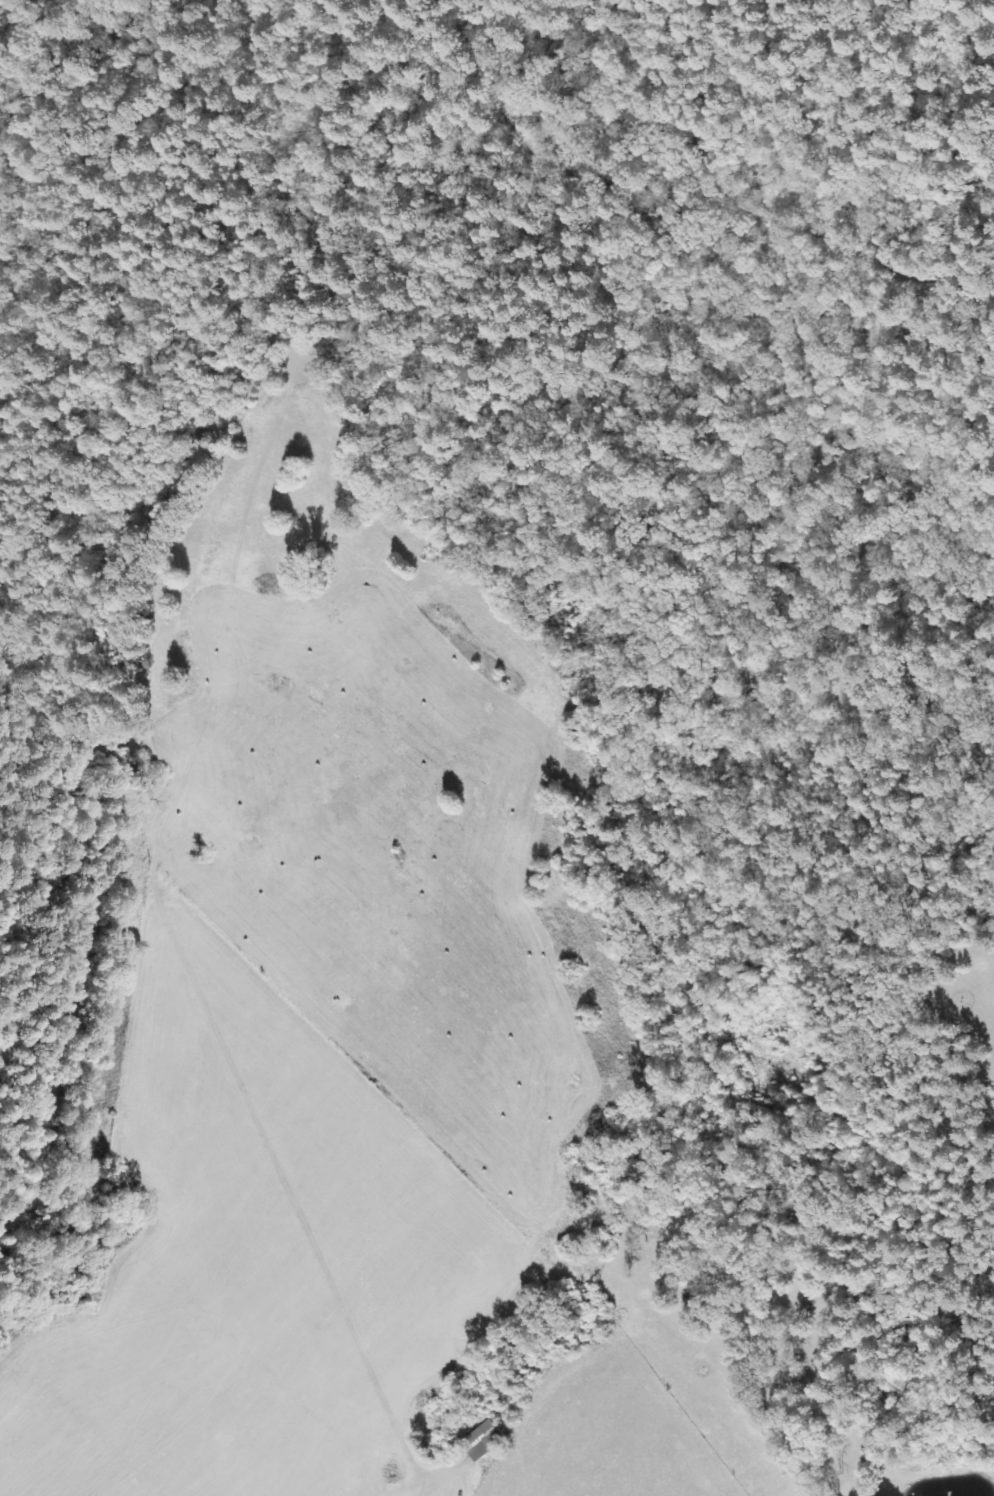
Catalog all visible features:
building: (487, 1441)

